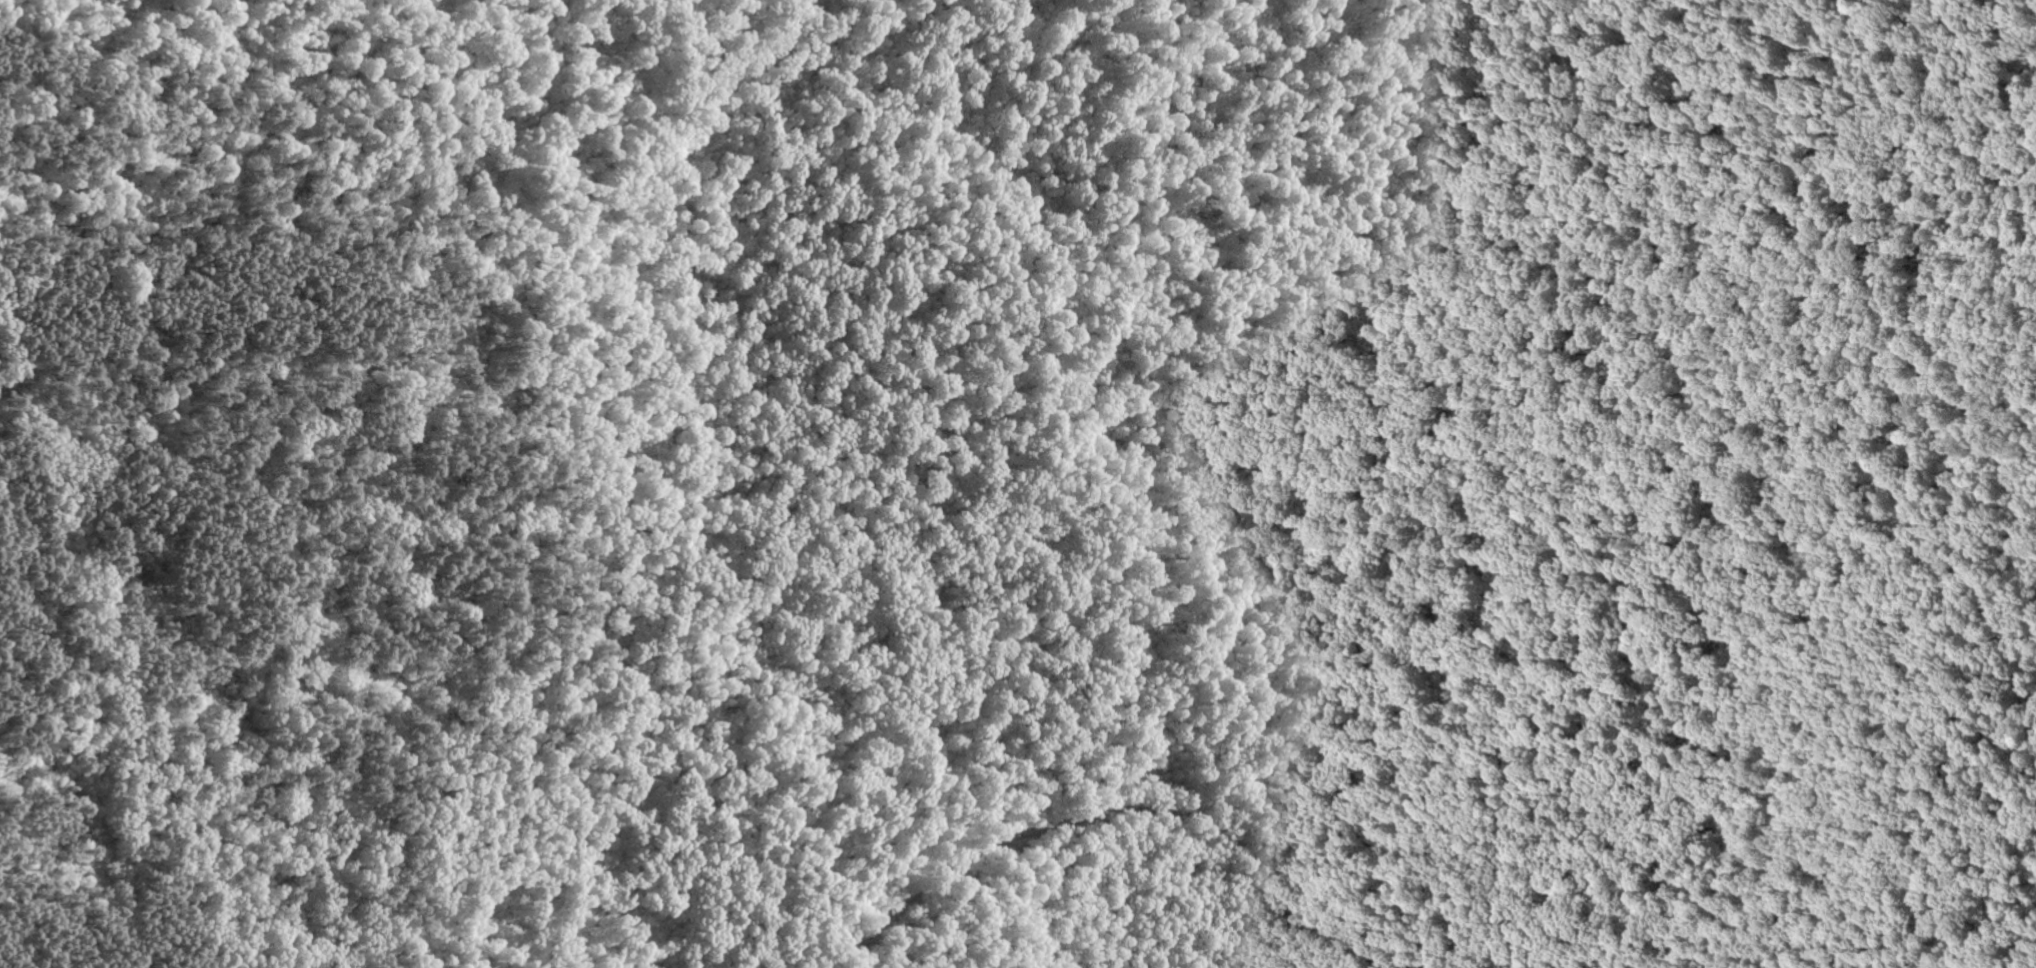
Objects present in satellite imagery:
road: (1122, 811)

